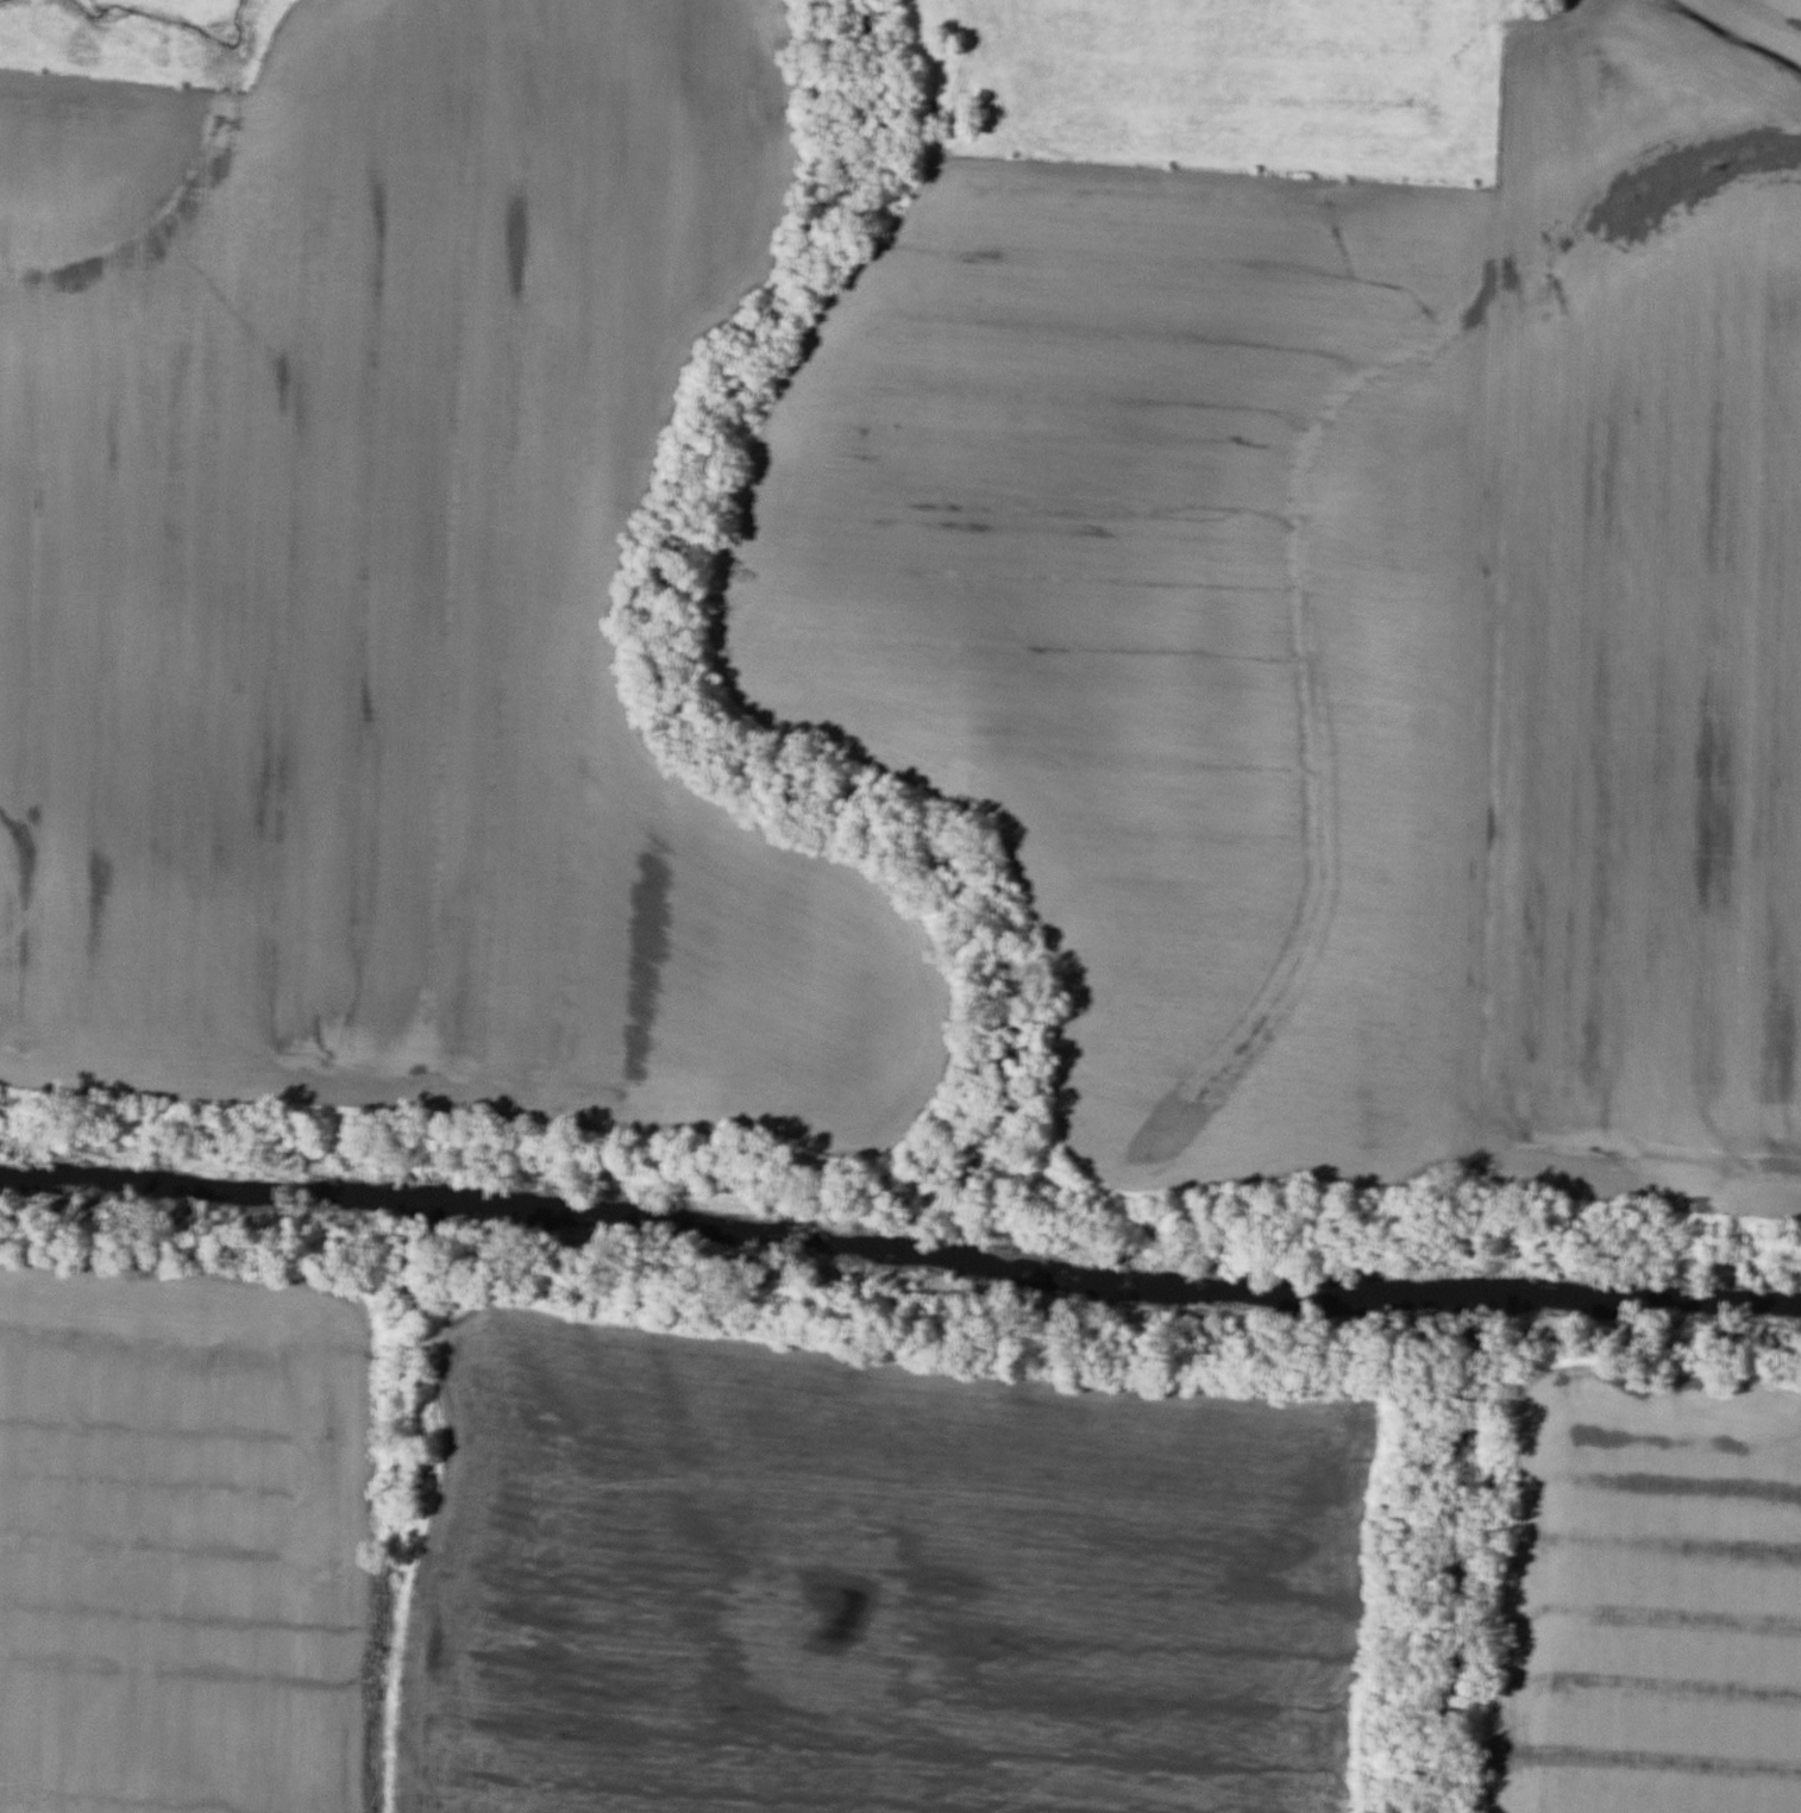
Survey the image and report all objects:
crop: (402, 598)
crop: (1645, 622)
crop: (1162, 628)
river: (900, 1251)
crop: (182, 1538)
crop: (885, 1579)
crop: (1646, 1596)

